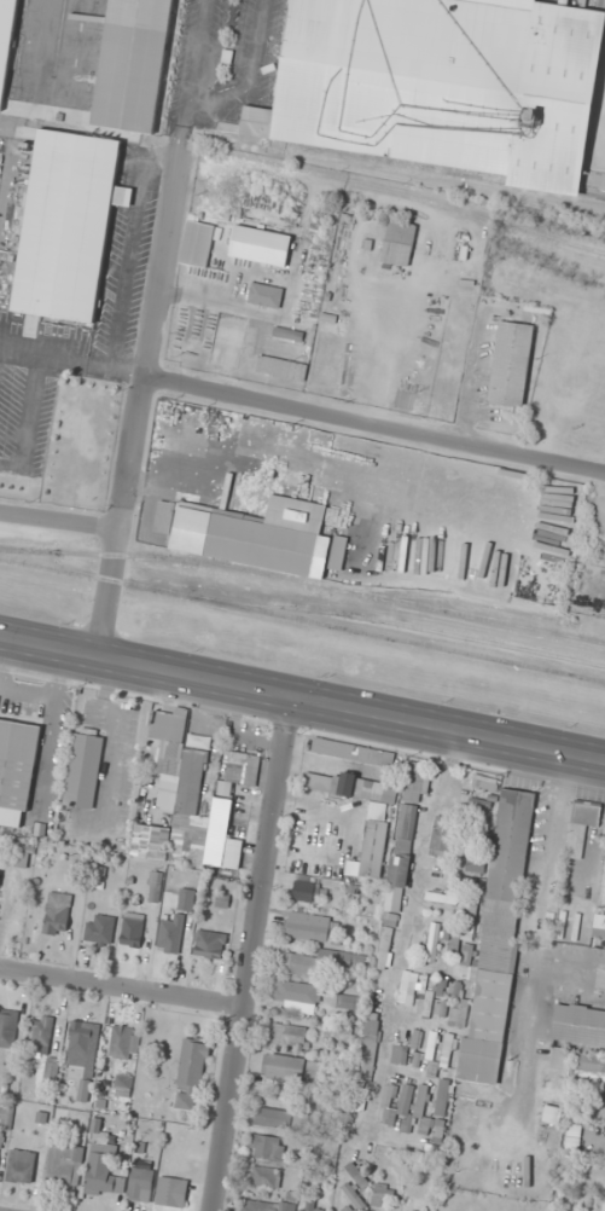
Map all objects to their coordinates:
building: (6, 45)
building: (132, 64)
building: (442, 86)
railway: (306, 172)
railway: (452, 175)
building: (68, 224)
building: (197, 243)
building: (399, 243)
building: (264, 295)
building: (511, 364)
building: (280, 367)
road: (374, 424)
road: (118, 516)
road: (58, 518)
building: (250, 533)
railway: (304, 581)
railway: (444, 598)
railway: (302, 619)
railway: (400, 624)
road: (302, 700)
building: (198, 741)
building: (366, 754)
building: (175, 764)
building: (83, 767)
building: (243, 769)
building: (17, 770)
building: (415, 782)
building: (354, 787)
building: (582, 825)
building: (406, 827)
building: (443, 835)
building: (222, 838)
building: (151, 841)
building: (187, 841)
building: (373, 848)
building: (396, 882)
building: (304, 891)
building: (603, 894)
building: (442, 897)
building: (188, 899)
building: (57, 912)
building: (308, 927)
building: (599, 928)
building: (100, 929)
building: (132, 929)
building: (169, 935)
building: (498, 939)
building: (432, 941)
building: (386, 943)
building: (210, 944)
road: (251, 954)
building: (409, 986)
road: (122, 987)
building: (296, 996)
building: (349, 1002)
building: (426, 1003)
building: (441, 1009)
building: (578, 1025)
building: (7, 1027)
building: (337, 1032)
building: (45, 1033)
building: (289, 1033)
building: (371, 1037)
building: (85, 1041)
building: (121, 1042)
building: (448, 1050)
building: (399, 1054)
building: (560, 1062)
building: (589, 1066)
building: (292, 1067)
building: (191, 1074)
building: (123, 1080)
building: (442, 1097)
building: (418, 1113)
building: (274, 1118)
building: (267, 1147)
building: (64, 1163)
building: (21, 1166)
building: (103, 1171)
building: (356, 1175)
building: (266, 1176)
building: (140, 1184)
building: (383, 1190)
building: (171, 1192)
building: (354, 1196)
building: (464, 1203)
building: (263, 1206)
building: (310, 1209)
building: (348, 1210)

